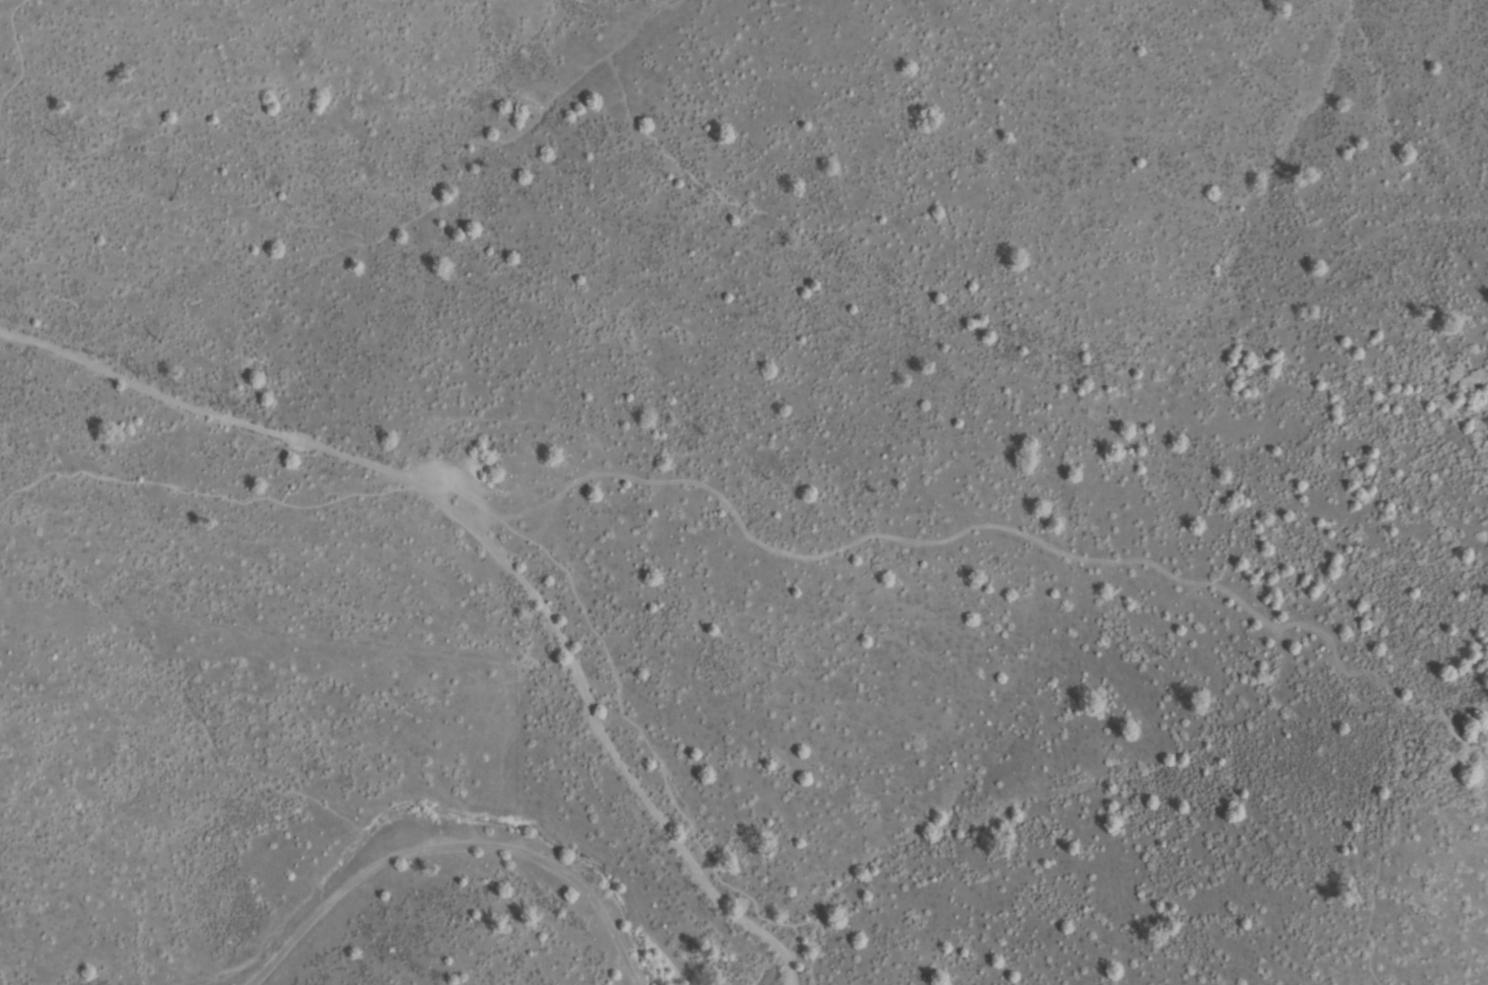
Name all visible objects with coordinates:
road: (12, 56)
road: (497, 540)
road: (461, 853)

